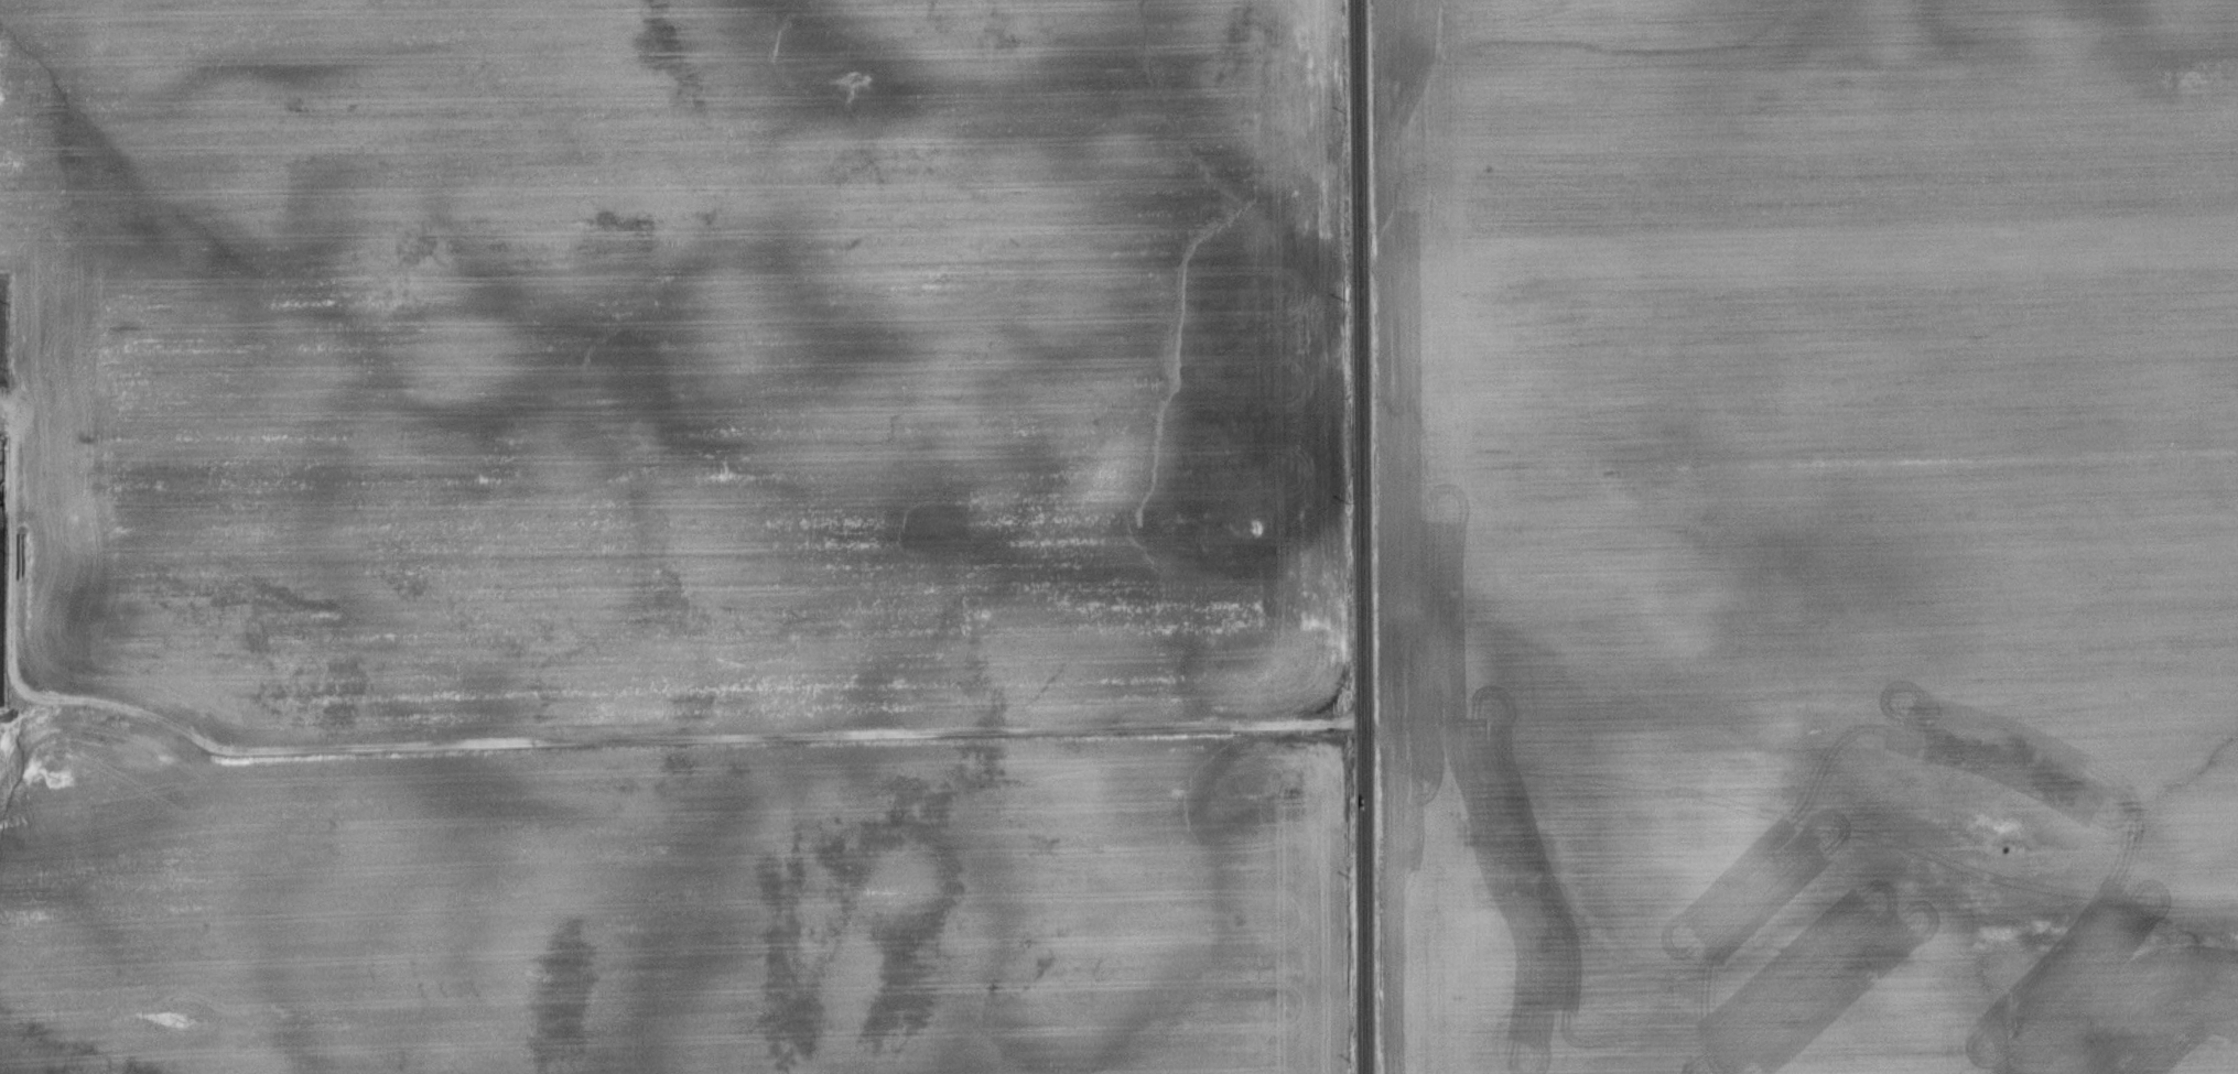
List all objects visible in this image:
road: (1363, 536)
road: (499, 740)

